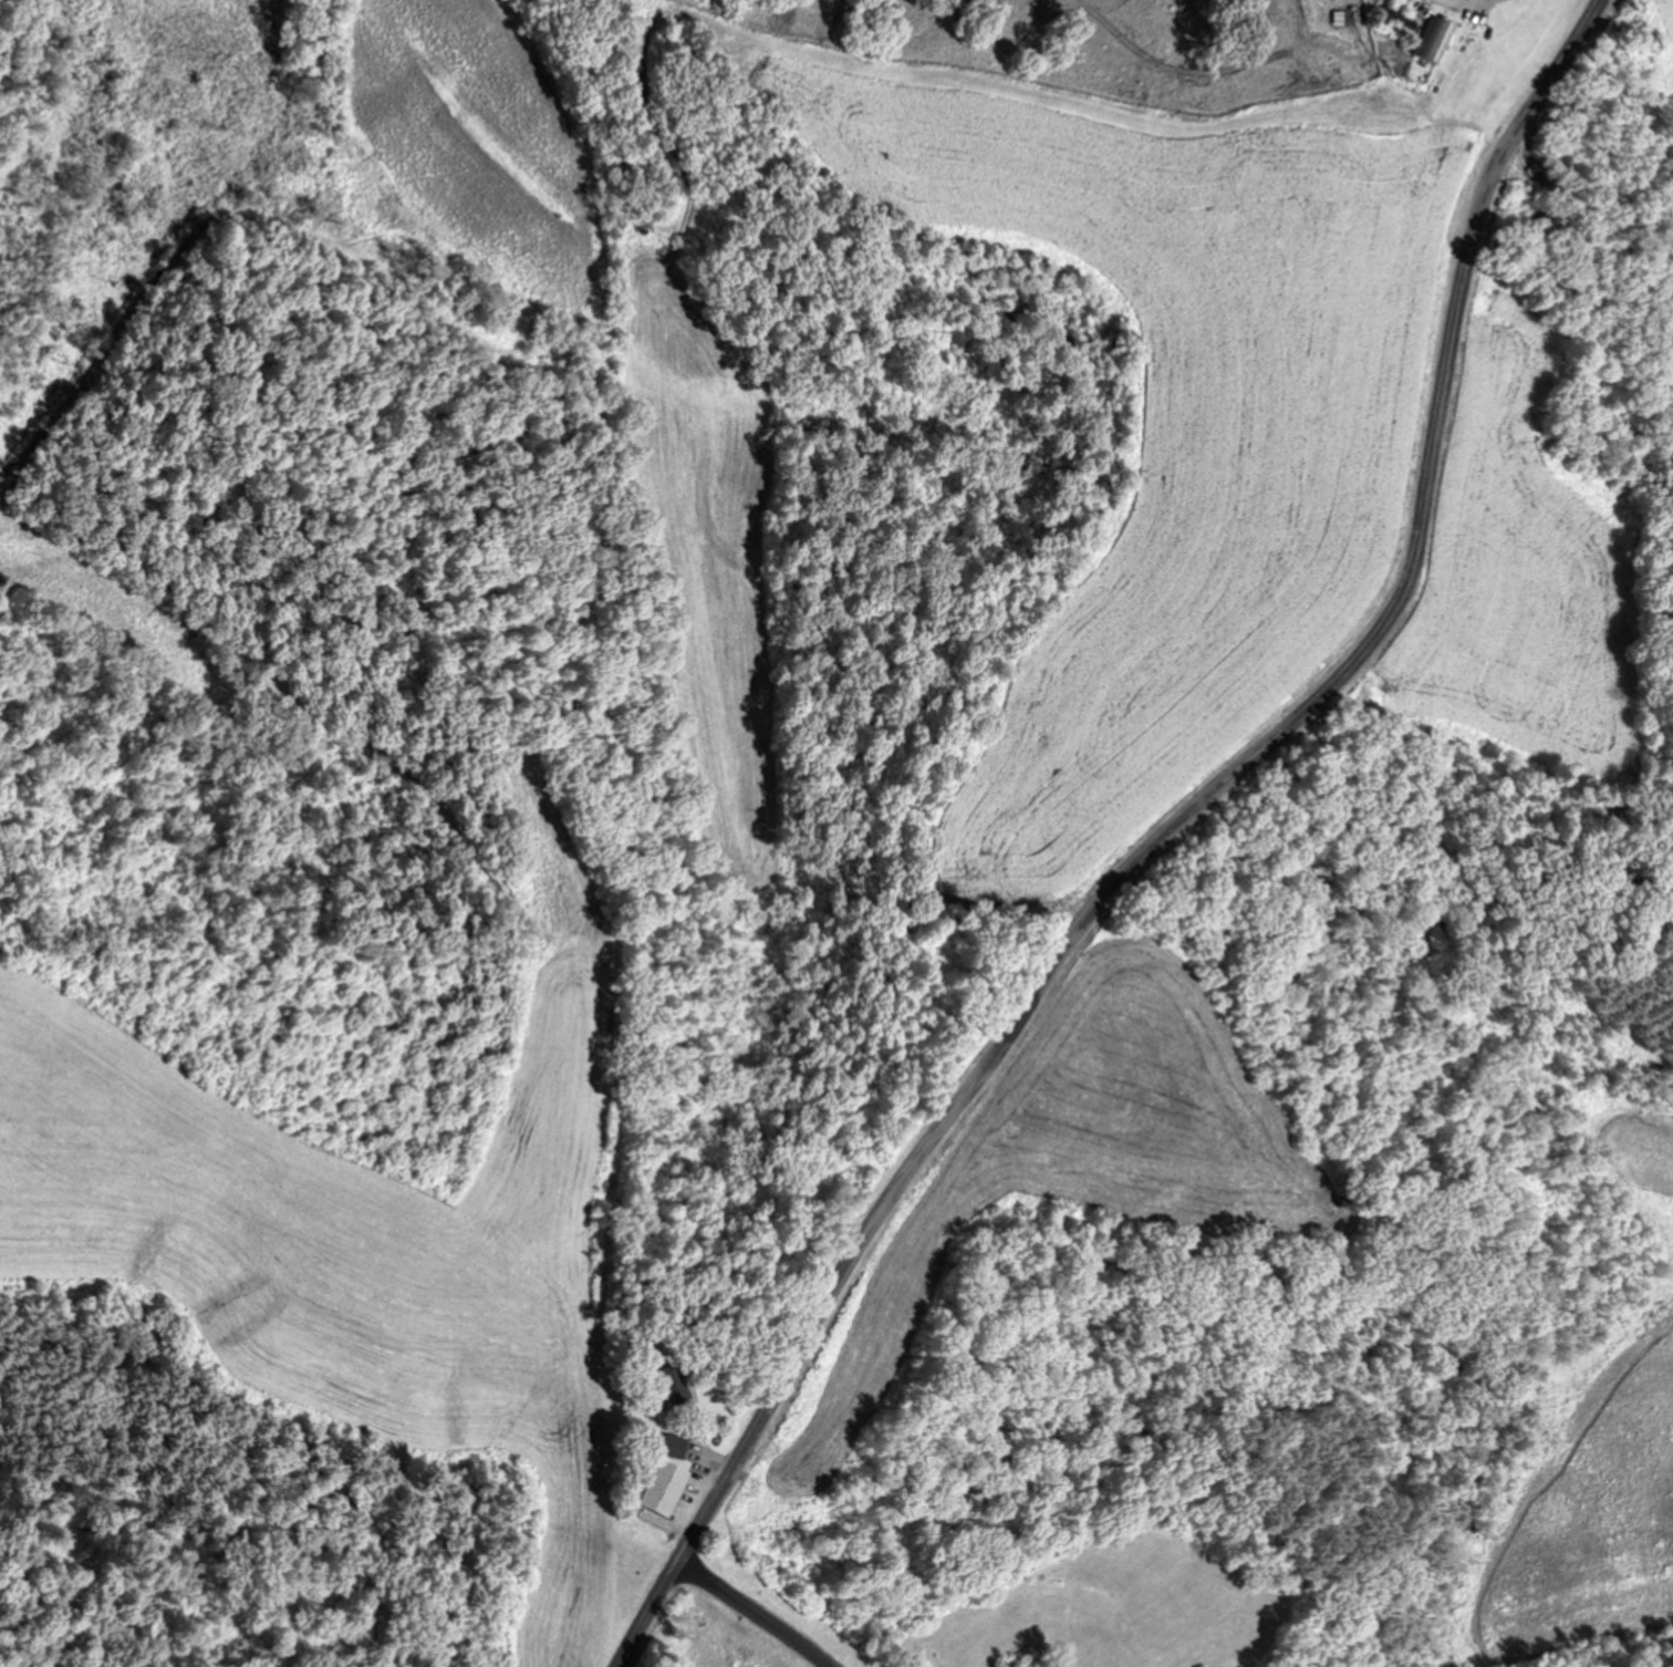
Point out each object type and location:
road: (1474, 11)
building: (1427, 41)
road: (1168, 848)
building: (668, 1383)
building: (663, 1477)
road: (760, 1614)

